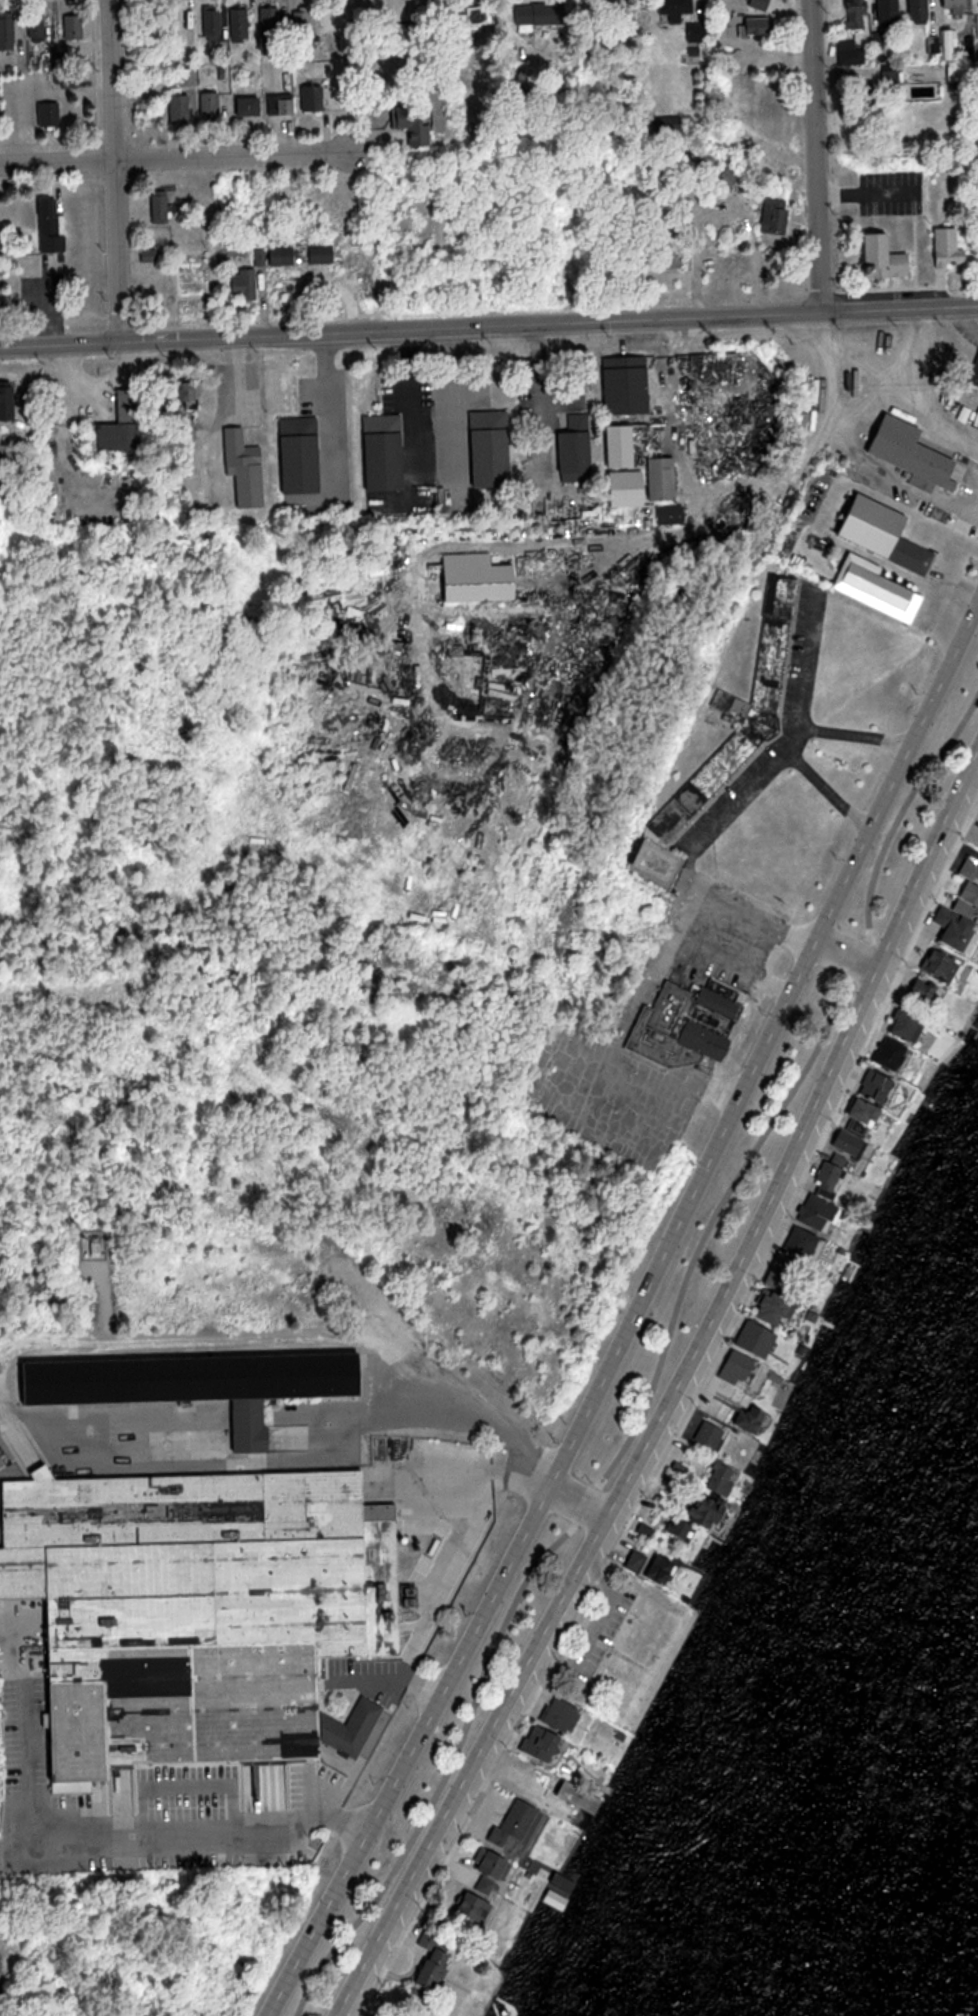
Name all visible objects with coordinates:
building: (760, 4)
building: (957, 6)
building: (676, 10)
building: (891, 10)
building: (921, 11)
building: (856, 14)
building: (474, 20)
building: (176, 21)
building: (214, 22)
building: (272, 22)
building: (304, 23)
building: (240, 24)
building: (38, 25)
building: (76, 26)
building: (750, 26)
building: (698, 32)
building: (8, 33)
building: (405, 39)
building: (848, 52)
building: (957, 71)
building: (188, 76)
building: (315, 97)
building: (282, 103)
building: (212, 104)
building: (252, 106)
building: (181, 108)
building: (52, 114)
building: (414, 122)
road: (817, 156)
road: (175, 158)
building: (705, 164)
road: (118, 170)
building: (730, 179)
building: (162, 208)
building: (776, 216)
building: (0, 217)
building: (51, 228)
building: (953, 247)
building: (677, 254)
building: (324, 255)
building: (284, 256)
building: (261, 257)
building: (889, 258)
building: (247, 285)
road: (900, 308)
road: (411, 329)
building: (972, 374)
building: (621, 380)
building: (189, 395)
building: (8, 404)
road: (330, 404)
building: (124, 423)
building: (612, 446)
building: (484, 447)
building: (570, 450)
building: (905, 453)
building: (303, 455)
building: (392, 469)
building: (245, 470)
building: (657, 479)
building: (621, 484)
building: (876, 532)
building: (885, 591)
road: (808, 665)
building: (735, 724)
road: (857, 736)
road: (829, 792)
road: (751, 914)
road: (667, 941)
road: (847, 957)
road: (731, 964)
building: (678, 1026)
building: (91, 1245)
road: (634, 1317)
road: (657, 1364)
building: (274, 1387)
road: (674, 1392)
road: (477, 1414)
road: (542, 1474)
road: (576, 1507)
road: (447, 1548)
building: (13, 1579)
park: (622, 1655)
road: (364, 1744)
road: (185, 1829)

